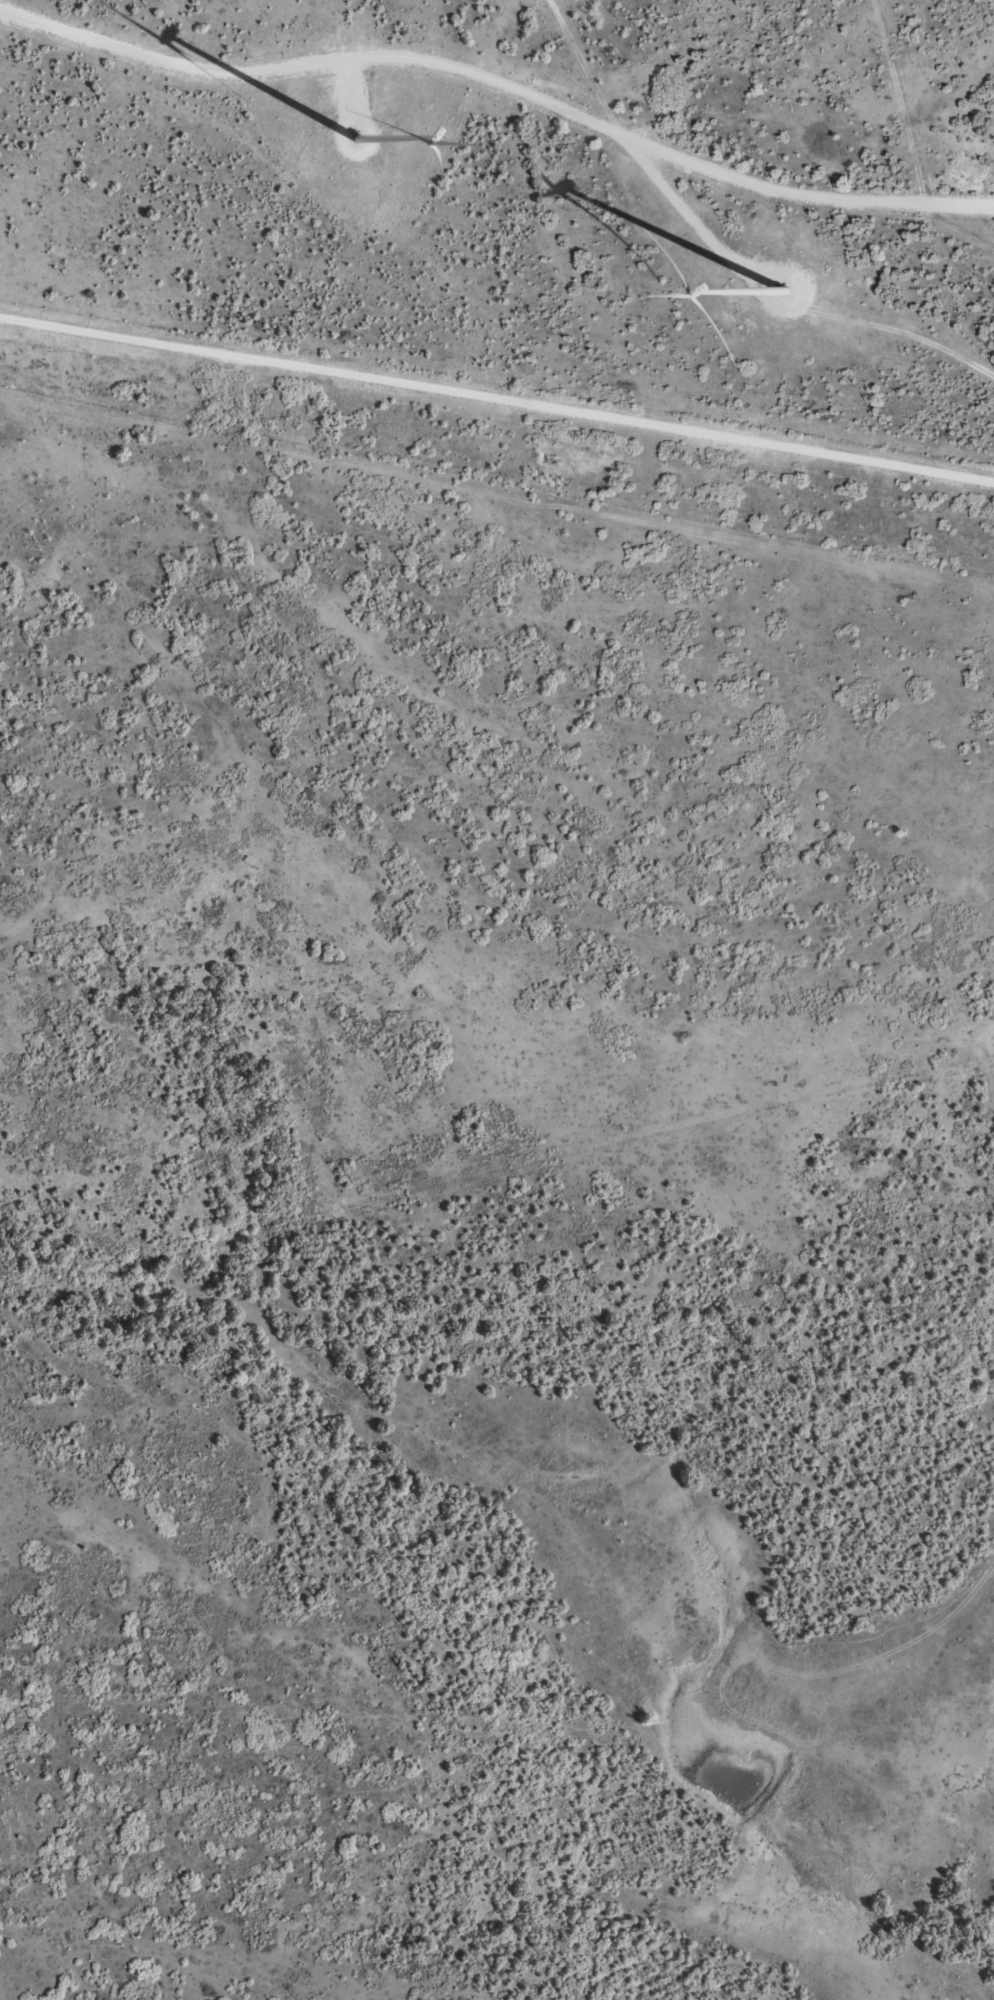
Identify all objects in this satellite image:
road: (500, 82)
wind turbine: (354, 140)
wind turbine: (787, 287)
road: (497, 397)

